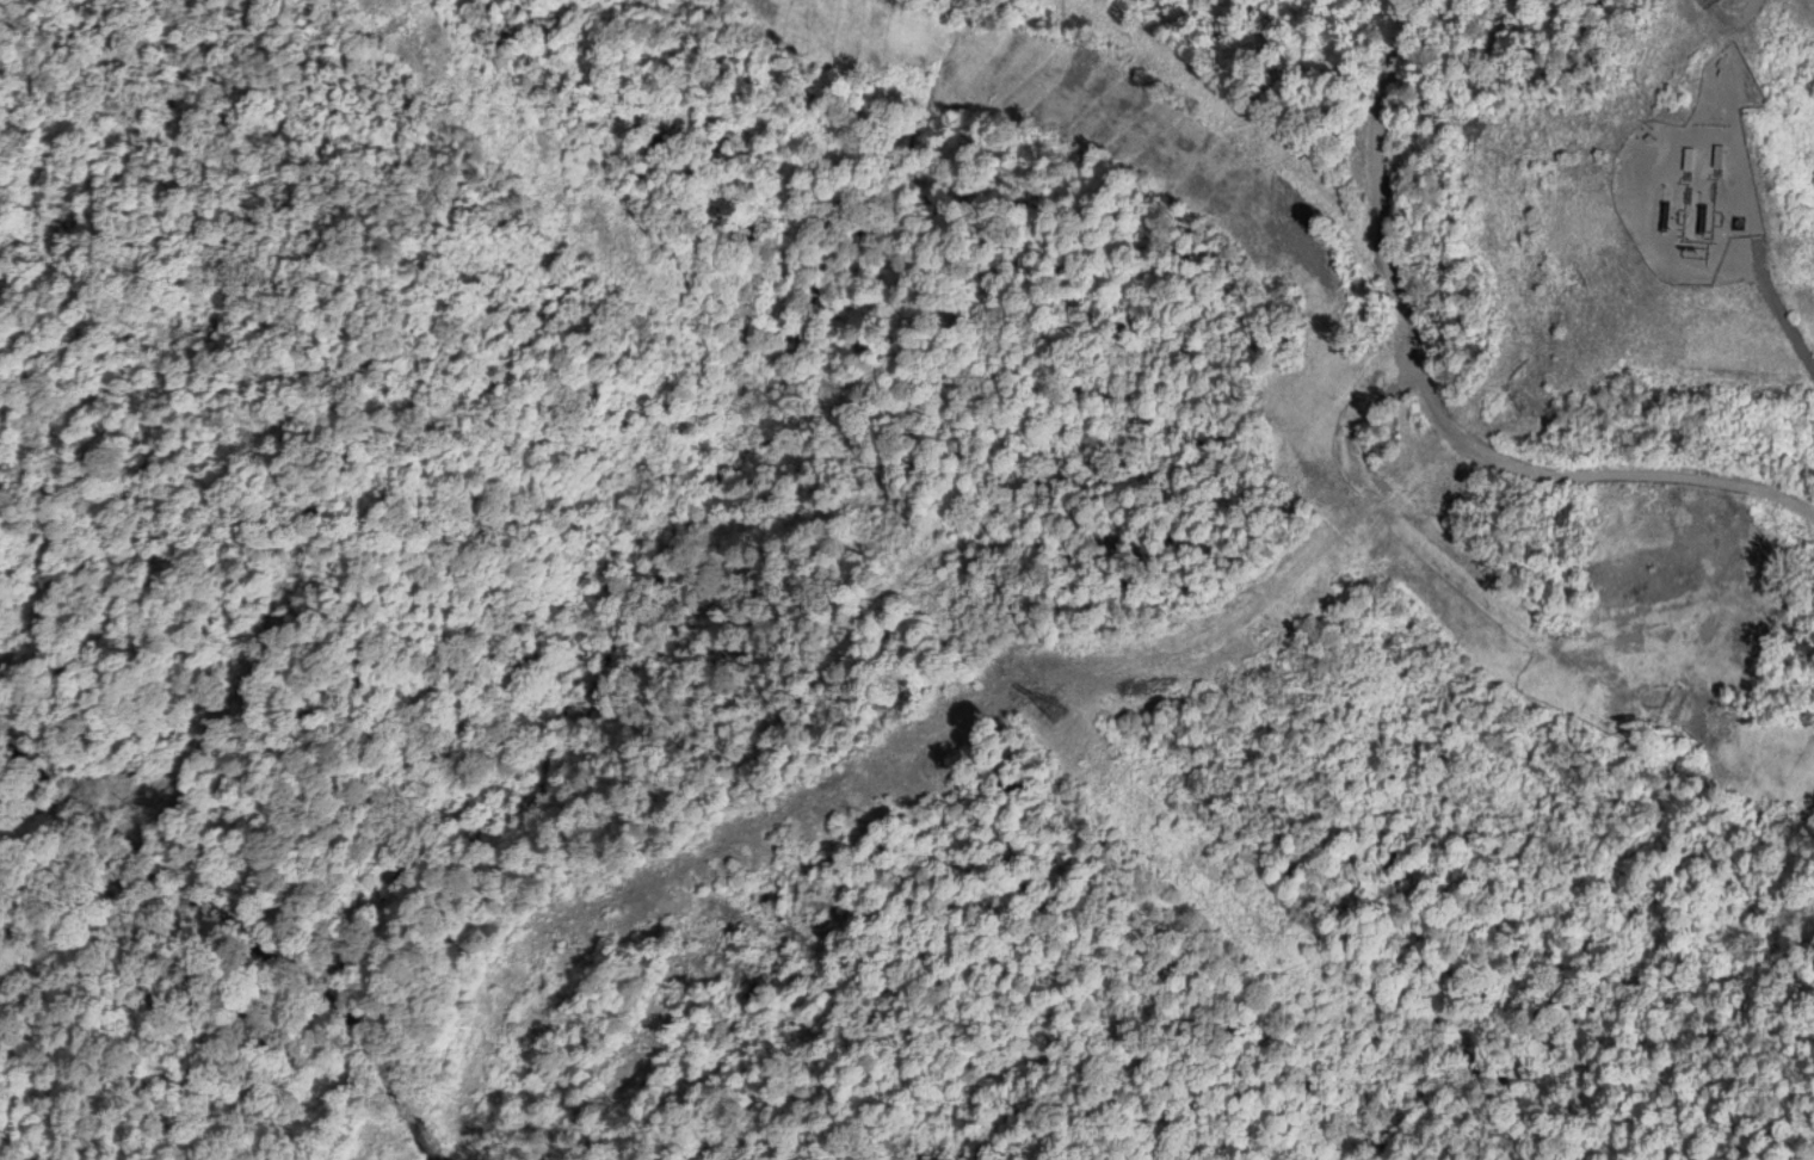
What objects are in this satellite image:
road: (1734, 189)
road: (1426, 405)

